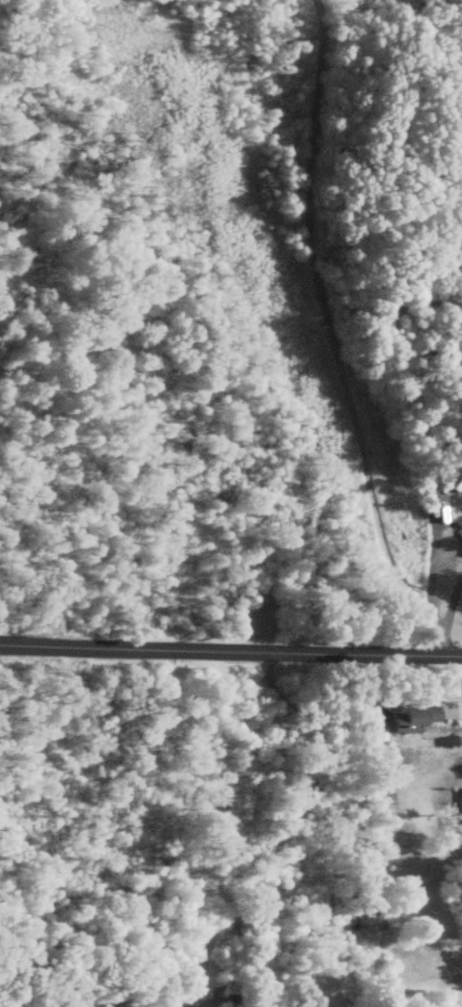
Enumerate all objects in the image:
power tower: (225, 215)
building: (430, 465)
road: (429, 582)
road: (440, 637)
road: (231, 651)
building: (411, 719)
building: (460, 807)
building: (213, 997)
building: (232, 1001)

